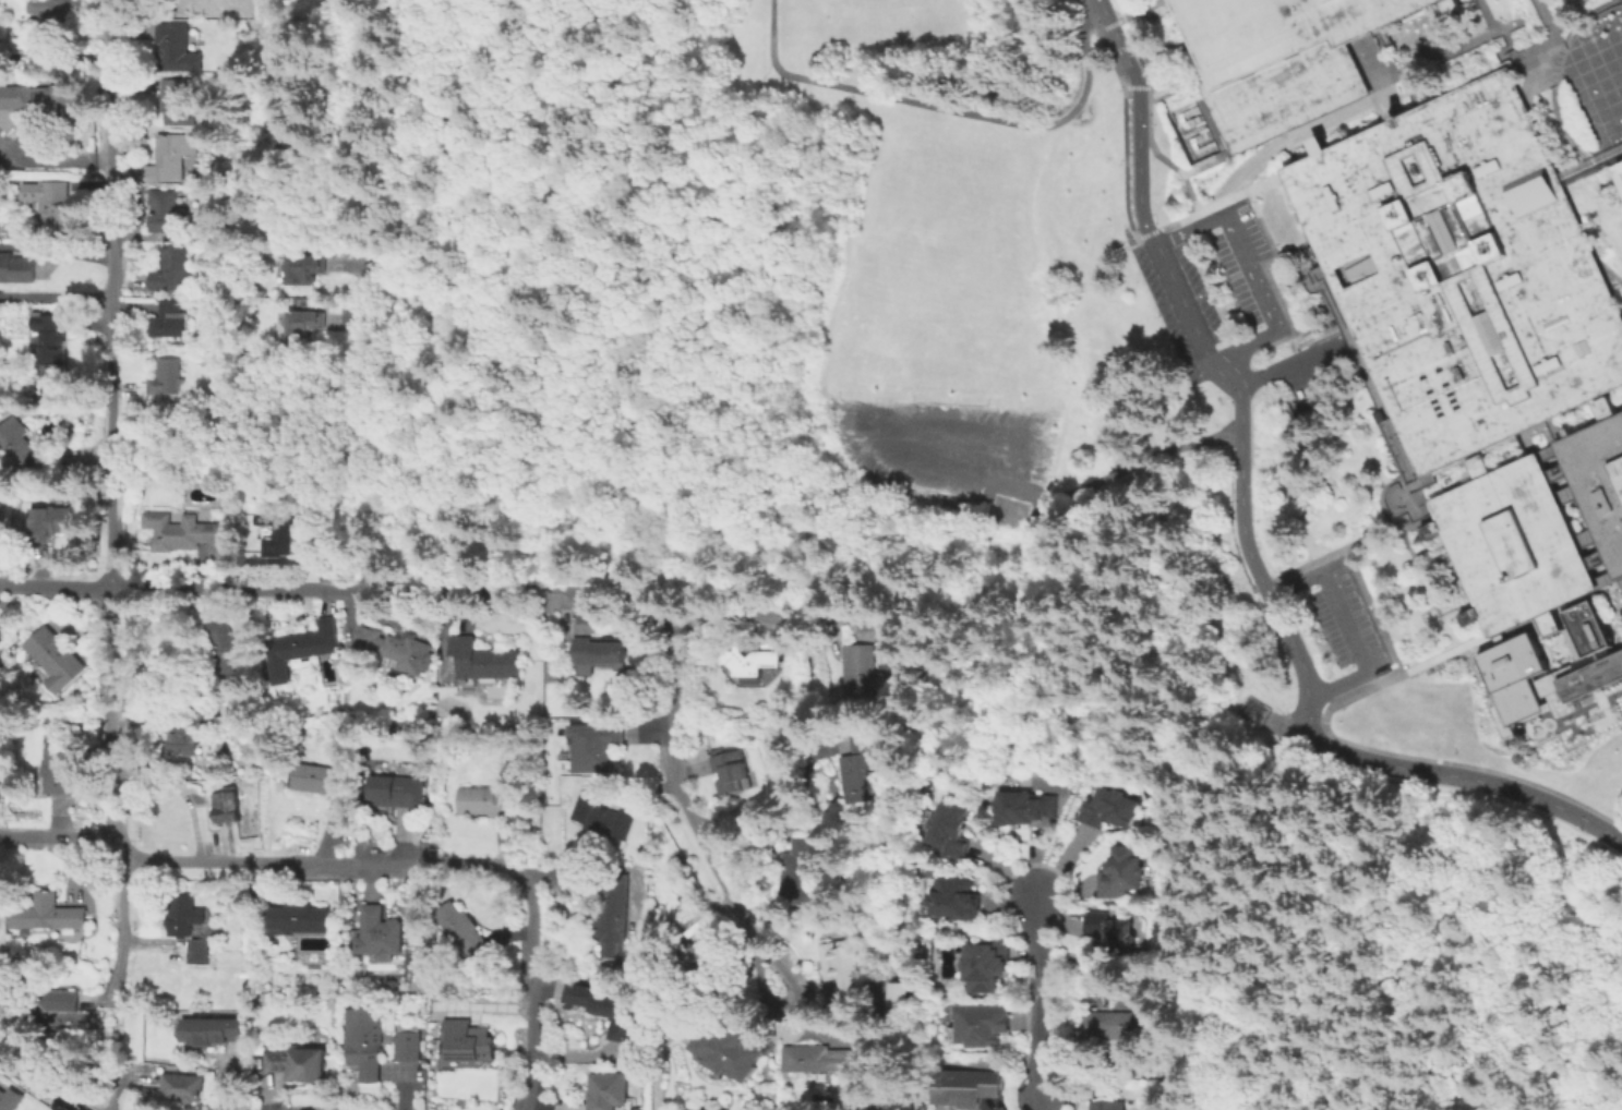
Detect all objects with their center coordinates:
road: (1102, 4)
building: (62, 8)
road: (1570, 15)
road: (1487, 16)
road: (1546, 17)
road: (772, 34)
road: (1507, 38)
road: (1121, 48)
building: (179, 49)
road: (57, 56)
building: (1281, 58)
road: (1504, 58)
road: (956, 76)
road: (1521, 81)
building: (48, 102)
road: (1359, 104)
building: (178, 105)
road: (981, 116)
road: (1547, 138)
road: (1157, 153)
building: (173, 159)
road: (1590, 167)
building: (1618, 172)
road: (1255, 189)
building: (58, 208)
building: (166, 213)
road: (1271, 245)
road: (56, 251)
road: (1293, 251)
road: (1313, 254)
building: (19, 270)
building: (305, 270)
building: (170, 272)
road: (1249, 272)
building: (1462, 272)
road: (1609, 273)
parking lot: (1202, 277)
road: (553, 279)
park: (581, 290)
road: (56, 294)
road: (112, 294)
road: (1054, 302)
building: (305, 321)
building: (169, 322)
road: (1320, 338)
road: (693, 342)
building: (51, 347)
road: (1288, 365)
road: (1365, 367)
building: (168, 379)
road: (369, 414)
building: (15, 444)
road: (970, 474)
building: (132, 482)
building: (1599, 482)
road: (1384, 491)
building: (0, 514)
road: (822, 514)
building: (49, 526)
road: (1387, 526)
building: (190, 533)
building: (278, 534)
building: (1512, 544)
road: (819, 556)
road: (1257, 569)
road: (1355, 569)
road: (1619, 574)
road: (1041, 580)
road: (1606, 580)
road: (55, 588)
road: (376, 591)
road: (670, 594)
road: (659, 596)
road: (1199, 598)
road: (750, 606)
road: (1541, 608)
parking lot: (1344, 620)
building: (1548, 623)
building: (396, 649)
building: (226, 650)
building: (303, 652)
building: (601, 653)
road: (1444, 653)
building: (1589, 653)
building: (753, 660)
building: (58, 661)
building: (485, 662)
building: (1514, 676)
building: (863, 677)
road: (1361, 690)
road: (1303, 711)
road: (112, 719)
road: (1180, 738)
building: (188, 747)
building: (596, 748)
building: (59, 772)
building: (863, 773)
building: (733, 774)
building: (317, 781)
building: (398, 792)
building: (485, 806)
building: (228, 808)
building: (1025, 809)
road: (687, 811)
building: (1112, 812)
building: (604, 818)
road: (742, 822)
building: (952, 832)
road: (1060, 832)
road: (262, 862)
building: (1122, 873)
building: (802, 876)
building: (956, 902)
building: (615, 916)
building: (50, 917)
building: (300, 920)
building: (185, 922)
road: (121, 928)
building: (1114, 933)
building: (380, 937)
building: (466, 938)
building: (202, 954)
building: (708, 967)
building: (987, 967)
building: (845, 969)
road: (1041, 982)
road: (532, 994)
road: (1285, 997)
building: (47, 1000)
building: (610, 1015)
building: (984, 1026)
building: (1124, 1027)
building: (213, 1029)
building: (365, 1043)
building: (468, 1045)
road: (117, 1047)
building: (409, 1049)
building: (725, 1049)
building: (826, 1060)
building: (300, 1066)
road: (38, 1082)
building: (964, 1088)
road: (1040, 1088)
building: (183, 1090)
building: (610, 1093)
road: (120, 1097)
building: (11, 1098)
building: (1109, 1105)

